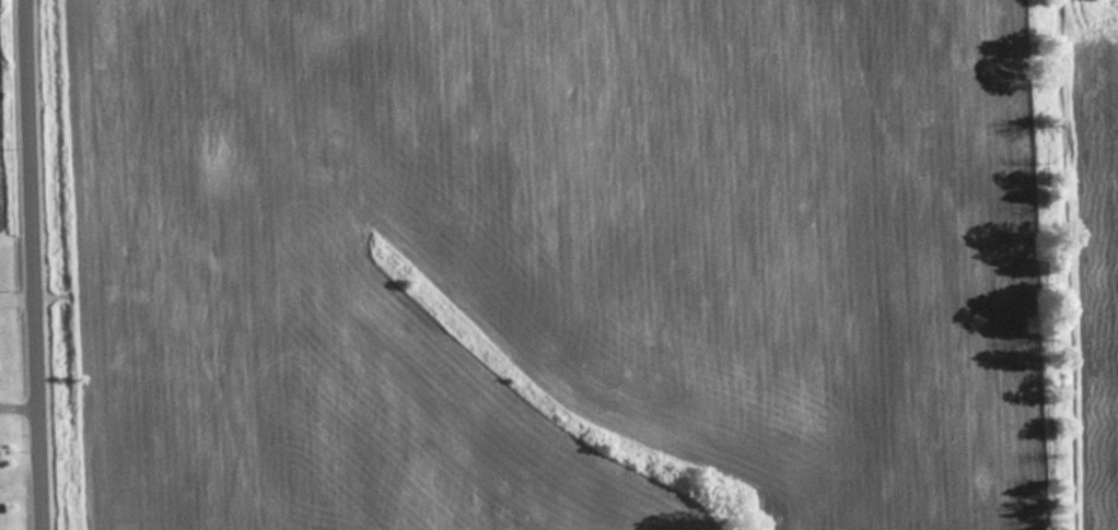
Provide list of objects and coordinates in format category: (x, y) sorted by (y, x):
road: (32, 264)

